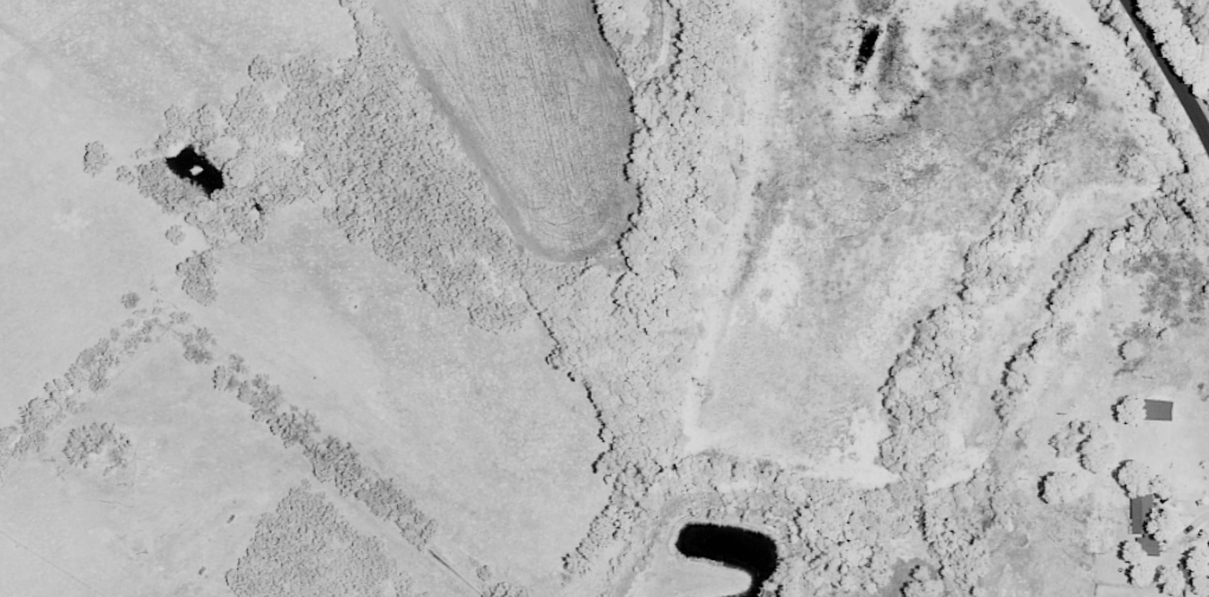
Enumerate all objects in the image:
road: (1170, 70)
building: (1154, 409)
road: (1196, 519)
building: (1145, 524)

